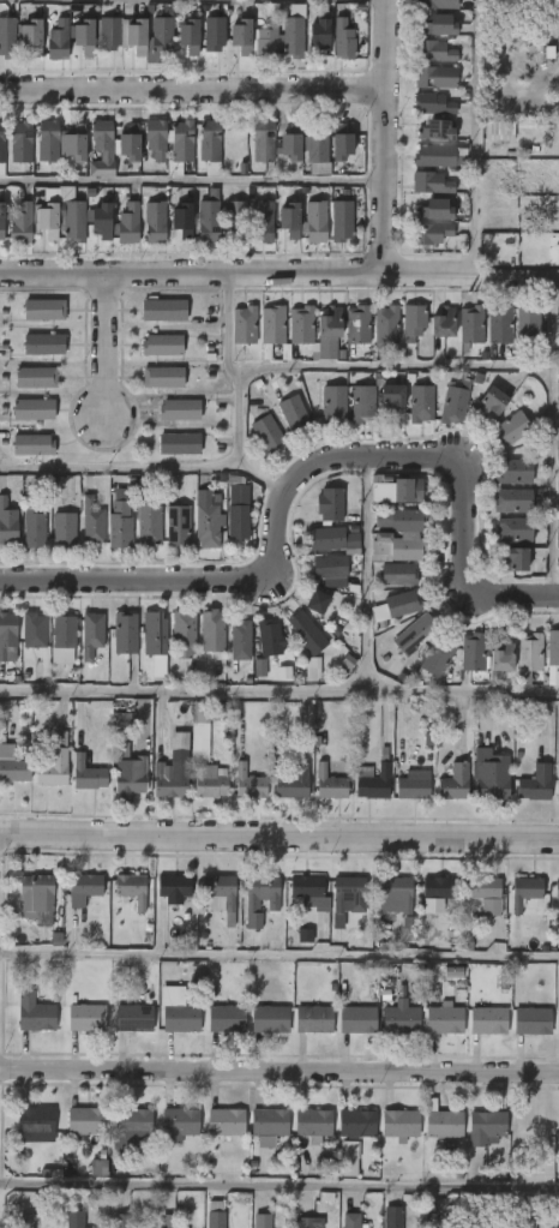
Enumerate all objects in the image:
building: (425, 4)
building: (447, 4)
building: (444, 23)
building: (110, 32)
building: (216, 32)
building: (323, 34)
building: (32, 35)
building: (88, 35)
building: (192, 35)
building: (138, 36)
building: (163, 36)
building: (271, 36)
building: (8, 37)
building: (58, 40)
building: (345, 40)
building: (437, 50)
building: (438, 76)
road: (192, 90)
building: (435, 103)
building: (440, 130)
road: (385, 136)
building: (157, 138)
road: (474, 138)
building: (49, 139)
building: (20, 142)
building: (132, 142)
building: (78, 145)
building: (211, 145)
building: (265, 145)
building: (291, 145)
building: (343, 145)
building: (2, 146)
building: (182, 146)
building: (103, 148)
building: (319, 151)
building: (437, 155)
building: (433, 182)
road: (192, 184)
building: (439, 209)
building: (210, 216)
building: (52, 217)
building: (186, 218)
building: (293, 218)
building: (2, 220)
building: (104, 220)
building: (236, 220)
building: (318, 220)
building: (156, 221)
building: (264, 221)
building: (342, 221)
building: (131, 222)
building: (432, 233)
road: (279, 272)
building: (166, 309)
building: (46, 310)
building: (415, 321)
building: (447, 321)
building: (246, 324)
building: (303, 324)
building: (503, 324)
building: (474, 327)
building: (527, 327)
building: (387, 328)
building: (344, 329)
building: (275, 331)
building: (46, 343)
building: (163, 345)
road: (101, 347)
road: (447, 370)
building: (37, 377)
building: (164, 377)
building: (380, 378)
building: (558, 390)
building: (391, 397)
building: (494, 401)
building: (457, 402)
building: (335, 403)
building: (363, 403)
building: (422, 403)
building: (35, 409)
building: (181, 409)
building: (295, 413)
building: (511, 429)
building: (268, 433)
building: (181, 443)
building: (34, 444)
road: (236, 449)
road: (118, 467)
building: (515, 472)
road: (302, 475)
building: (397, 489)
building: (515, 501)
building: (329, 502)
building: (239, 513)
building: (401, 519)
building: (120, 520)
building: (150, 520)
building: (208, 520)
building: (34, 521)
building: (7, 522)
building: (94, 522)
building: (180, 527)
building: (65, 529)
building: (519, 529)
building: (332, 538)
building: (398, 549)
building: (513, 562)
building: (330, 569)
road: (363, 573)
building: (397, 574)
building: (317, 603)
building: (398, 606)
building: (32, 629)
building: (211, 629)
building: (6, 631)
building: (306, 631)
building: (124, 633)
building: (152, 633)
building: (182, 633)
building: (413, 633)
building: (90, 634)
building: (61, 637)
building: (268, 637)
building: (240, 640)
building: (471, 651)
building: (553, 651)
building: (501, 655)
building: (528, 655)
building: (435, 658)
building: (259, 667)
building: (312, 667)
road: (279, 691)
building: (122, 720)
building: (203, 754)
building: (53, 765)
building: (13, 769)
building: (130, 771)
building: (173, 773)
building: (491, 773)
building: (86, 774)
building: (374, 780)
building: (558, 780)
building: (247, 783)
building: (291, 783)
building: (329, 783)
building: (453, 783)
building: (535, 783)
building: (411, 787)
road: (279, 834)
building: (82, 888)
building: (130, 888)
building: (172, 888)
building: (557, 889)
building: (435, 891)
building: (483, 891)
building: (308, 892)
building: (35, 893)
building: (347, 894)
building: (393, 894)
building: (220, 895)
building: (523, 895)
building: (259, 898)
building: (305, 935)
road: (279, 957)
building: (452, 972)
building: (179, 1008)
building: (35, 1012)
building: (88, 1017)
building: (136, 1018)
building: (228, 1018)
building: (271, 1018)
building: (315, 1019)
building: (359, 1019)
building: (446, 1019)
building: (402, 1020)
building: (534, 1020)
building: (489, 1022)
building: (558, 1024)
road: (279, 1073)
building: (37, 1120)
building: (88, 1120)
building: (271, 1121)
building: (224, 1124)
building: (312, 1124)
building: (355, 1124)
building: (443, 1124)
building: (178, 1125)
building: (398, 1125)
building: (132, 1126)
building: (486, 1127)
building: (558, 1134)
building: (348, 1158)
building: (98, 1167)
road: (279, 1184)
building: (217, 1215)
building: (393, 1216)
building: (76, 1220)
building: (29, 1221)
building: (121, 1221)
building: (168, 1221)
building: (263, 1221)
building: (354, 1221)
building: (481, 1221)
building: (309, 1222)
building: (528, 1222)

